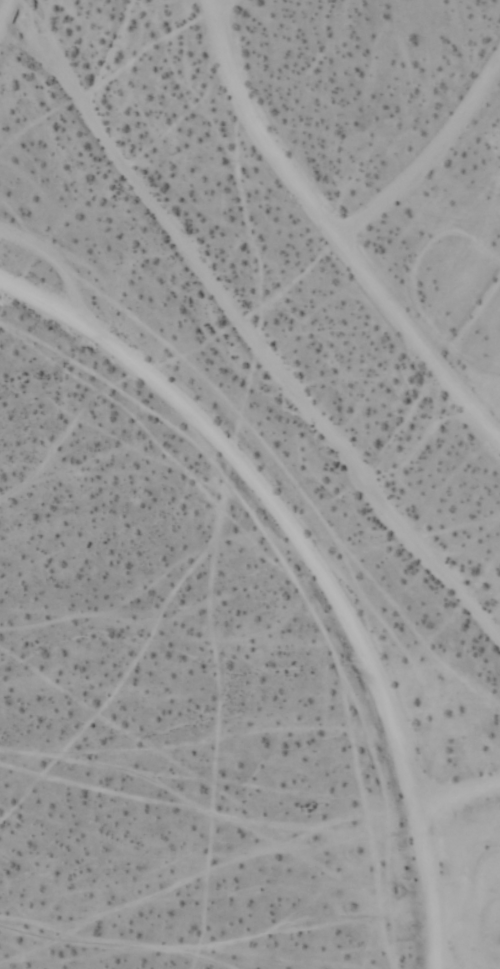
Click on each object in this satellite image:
road: (220, 2)
road: (7, 17)
road: (429, 164)
road: (332, 234)
crop: (301, 335)
road: (315, 563)
road: (460, 800)

